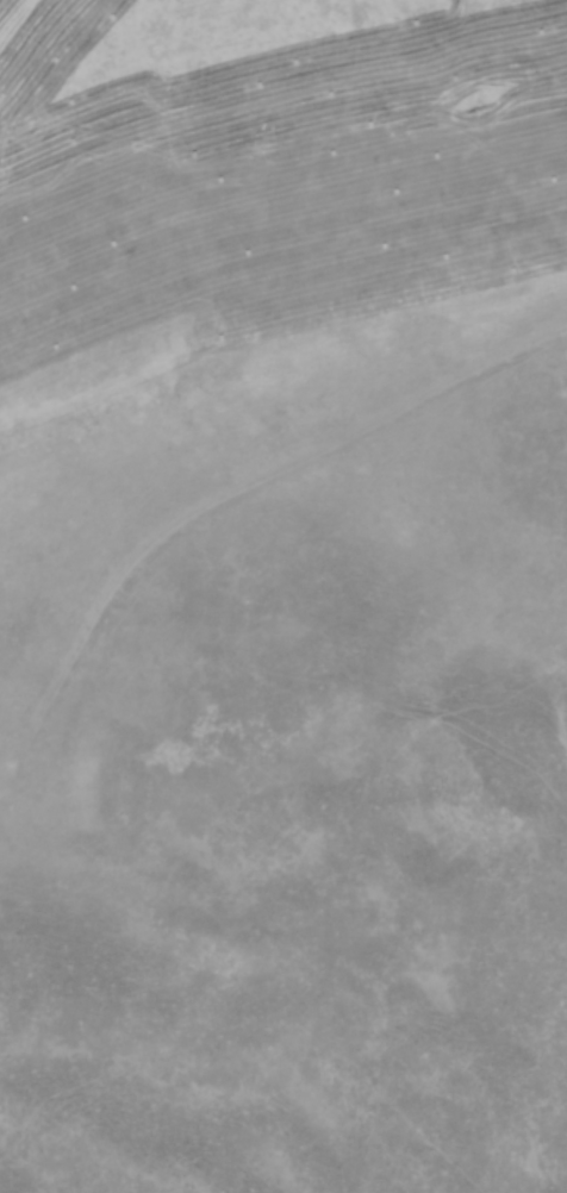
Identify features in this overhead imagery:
road: (225, 496)

